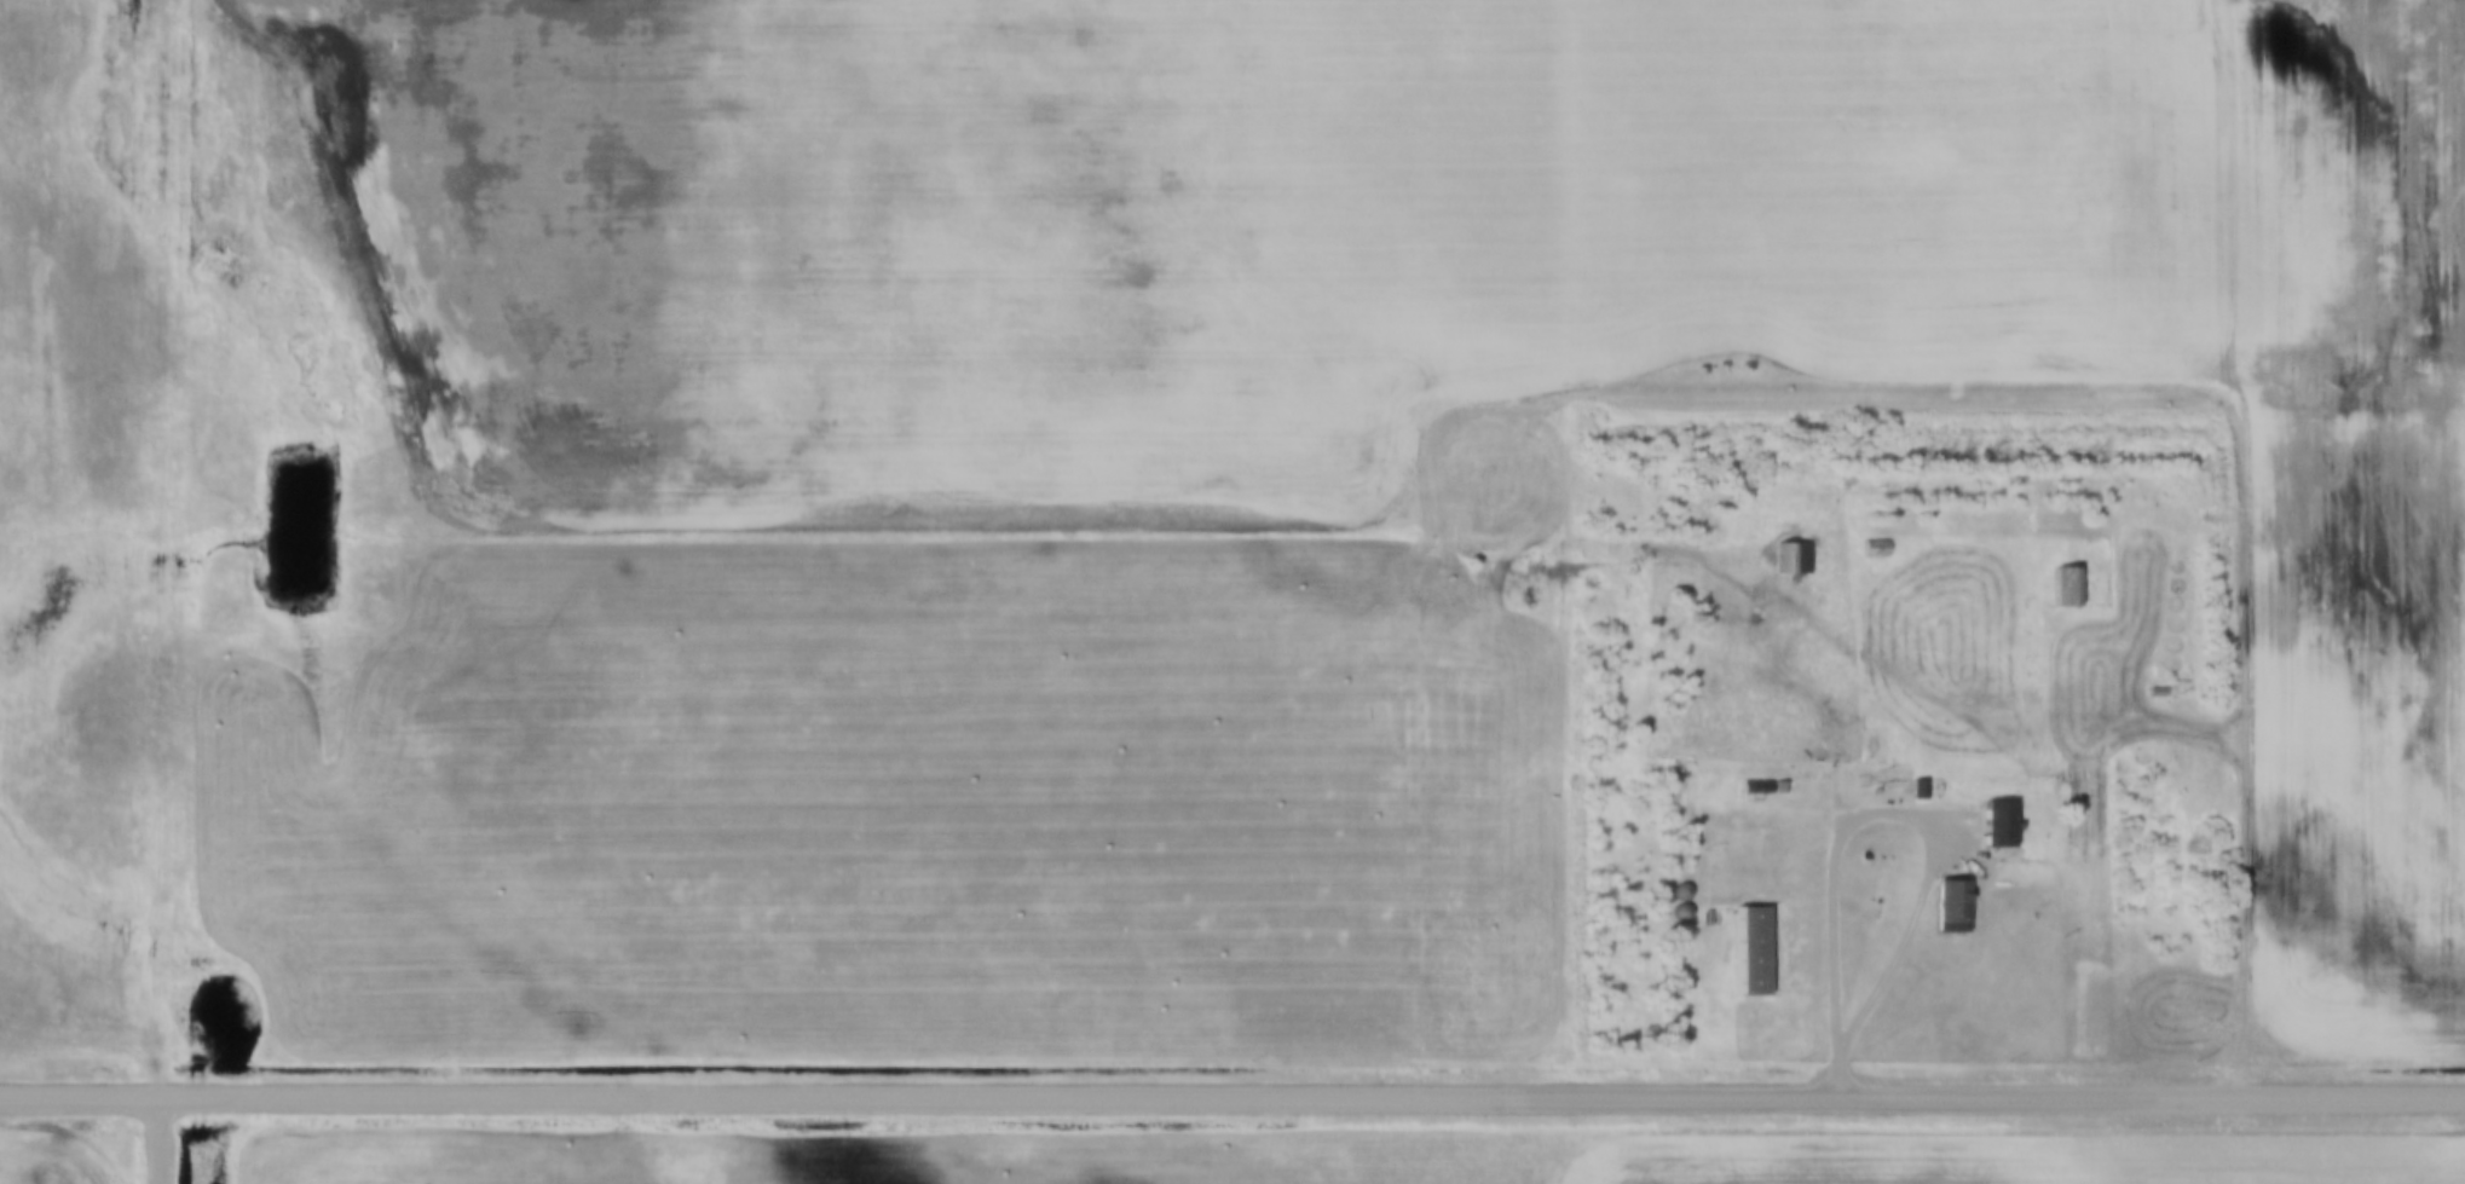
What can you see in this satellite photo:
building: (1881, 544)
road: (155, 549)
road: (2245, 549)
building: (1800, 553)
building: (2073, 583)
road: (2144, 639)
building: (2164, 689)
road: (1930, 694)
building: (1762, 785)
building: (1786, 785)
building: (1927, 785)
building: (2005, 819)
road: (1921, 826)
storage tank: (2008, 880)
building: (1688, 888)
silo: (1688, 888)
building: (1957, 902)
building: (1688, 908)
silo: (1688, 908)
building: (1760, 946)
road: (1231, 1101)
road: (160, 1142)

